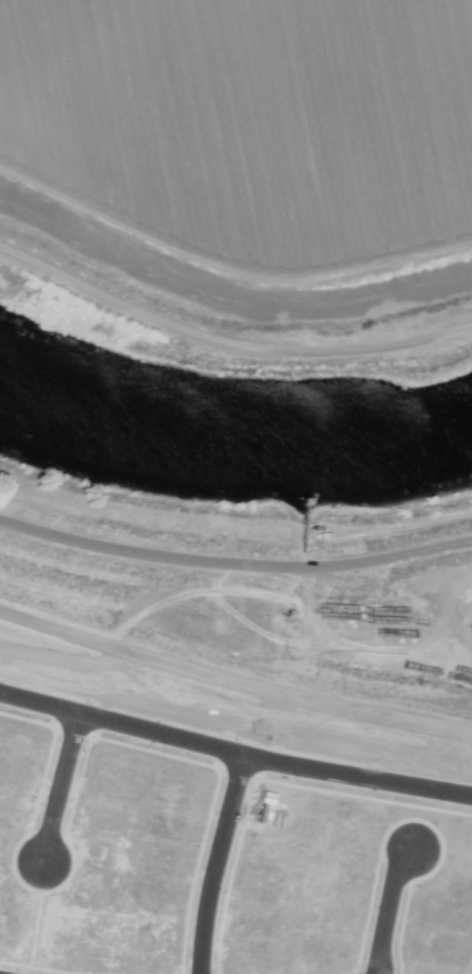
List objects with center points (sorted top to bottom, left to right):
road: (216, 318)
river: (230, 441)
road: (234, 561)
road: (233, 754)
road: (56, 786)
road: (214, 864)
road: (387, 908)

